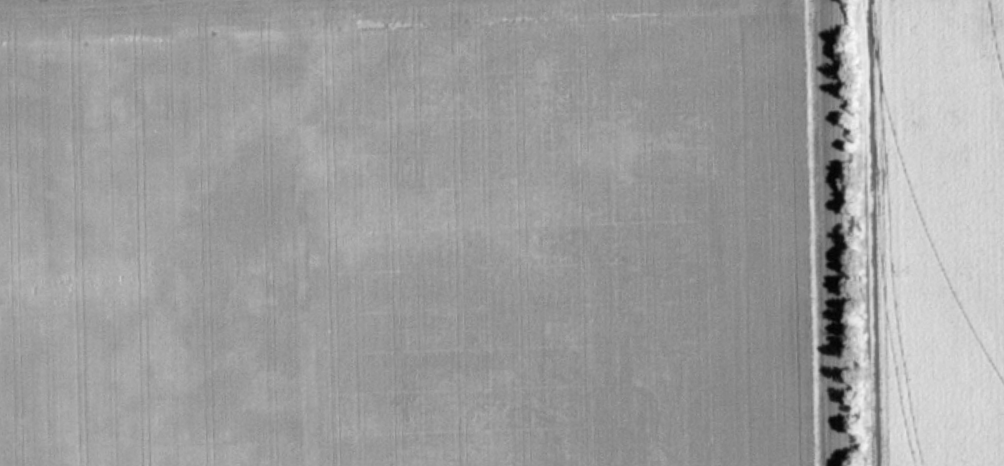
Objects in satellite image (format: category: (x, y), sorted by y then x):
road: (830, 233)

